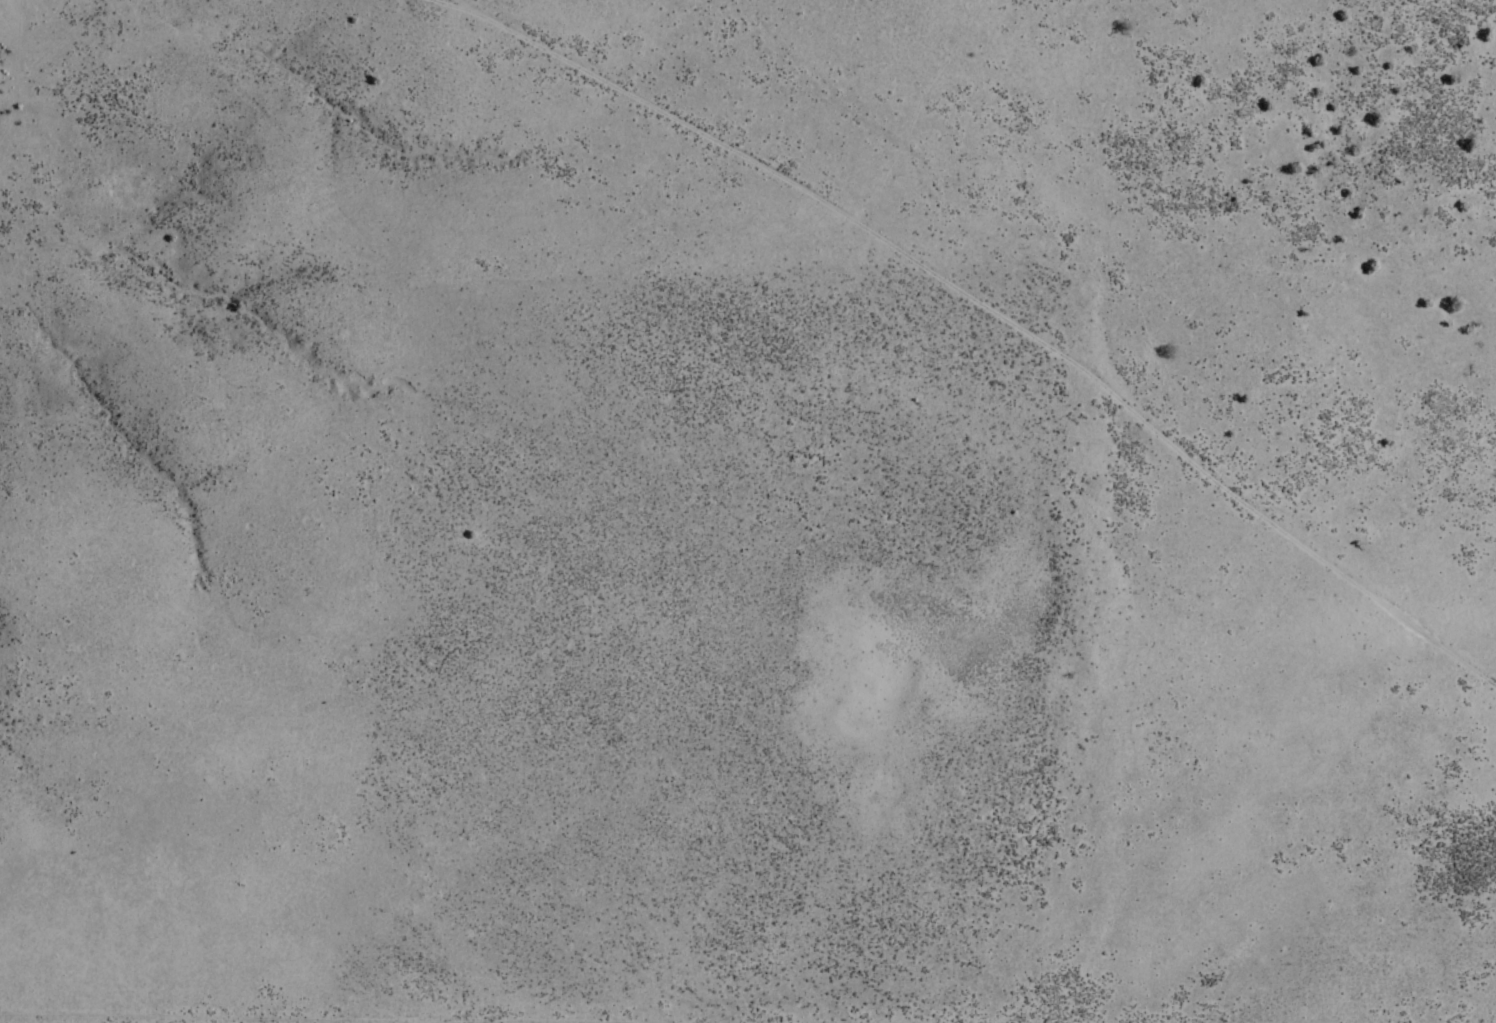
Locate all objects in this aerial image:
road: (835, 994)
road: (160, 1011)

